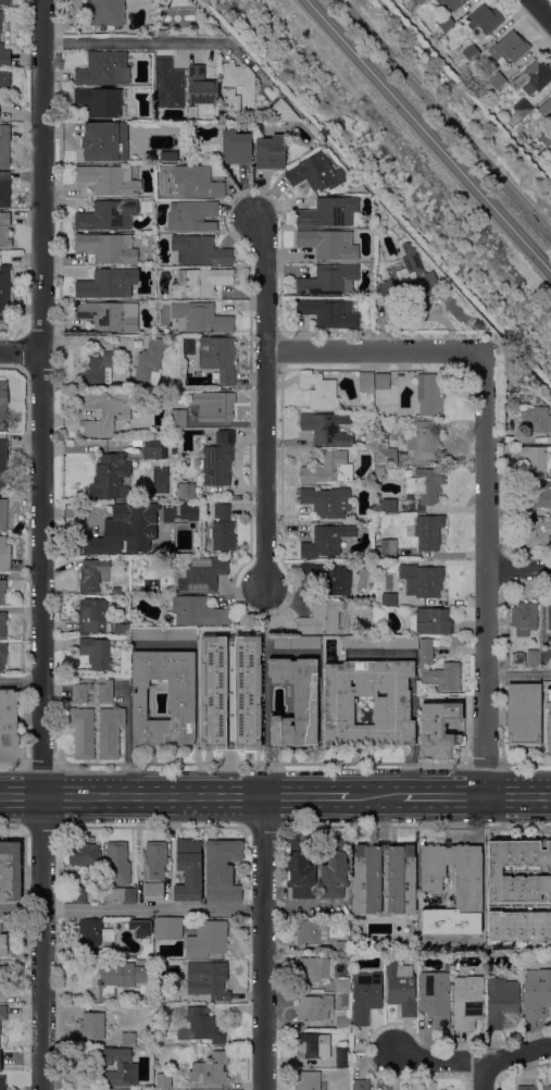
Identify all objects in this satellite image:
building: (419, 1)
building: (5, 2)
building: (452, 3)
road: (543, 8)
building: (105, 12)
building: (484, 20)
building: (0, 22)
building: (446, 23)
building: (162, 33)
road: (140, 41)
building: (509, 48)
building: (471, 52)
building: (4, 57)
building: (103, 70)
building: (533, 77)
building: (4, 79)
building: (168, 84)
building: (493, 84)
building: (237, 87)
building: (201, 88)
building: (100, 103)
building: (546, 109)
building: (283, 111)
building: (519, 112)
building: (223, 116)
road: (444, 117)
building: (258, 126)
building: (546, 138)
building: (100, 141)
building: (142, 141)
building: (4, 146)
building: (236, 148)
building: (271, 152)
building: (315, 173)
building: (109, 179)
building: (197, 183)
building: (4, 189)
building: (328, 213)
building: (108, 215)
building: (190, 215)
building: (4, 231)
building: (397, 232)
building: (328, 244)
building: (108, 248)
building: (200, 251)
building: (329, 281)
building: (408, 282)
building: (200, 283)
building: (108, 284)
building: (4, 290)
building: (328, 312)
building: (109, 315)
building: (200, 319)
road: (374, 349)
road: (21, 352)
building: (218, 357)
building: (150, 362)
building: (98, 371)
building: (528, 374)
building: (534, 381)
building: (365, 382)
building: (381, 382)
building: (321, 392)
building: (430, 394)
building: (3, 397)
road: (265, 399)
building: (213, 406)
building: (383, 410)
building: (104, 412)
building: (178, 418)
building: (535, 419)
building: (326, 429)
building: (423, 439)
building: (153, 450)
building: (384, 450)
building: (537, 458)
building: (218, 459)
building: (2, 465)
building: (326, 468)
building: (379, 471)
building: (111, 478)
building: (426, 484)
building: (186, 491)
building: (536, 496)
building: (326, 501)
building: (386, 506)
building: (188, 511)
building: (3, 515)
building: (222, 529)
building: (125, 530)
building: (427, 533)
building: (537, 533)
building: (326, 541)
road: (41, 544)
building: (385, 550)
building: (4, 555)
road: (518, 569)
road: (485, 573)
building: (91, 574)
building: (200, 574)
building: (328, 579)
building: (422, 581)
building: (2, 590)
building: (116, 591)
building: (388, 599)
building: (195, 612)
building: (92, 616)
building: (321, 617)
building: (549, 617)
building: (524, 618)
building: (433, 622)
building: (2, 624)
building: (122, 629)
building: (163, 634)
building: (297, 643)
building: (381, 643)
building: (96, 653)
building: (425, 653)
building: (2, 656)
building: (534, 657)
building: (546, 657)
building: (517, 658)
road: (517, 673)
building: (444, 677)
road: (21, 681)
building: (92, 689)
building: (211, 692)
building: (246, 692)
building: (180, 702)
building: (296, 702)
building: (391, 711)
building: (524, 716)
building: (8, 718)
building: (548, 719)
road: (230, 723)
building: (438, 728)
building: (82, 732)
building: (110, 732)
road: (127, 740)
road: (501, 743)
road: (259, 763)
road: (481, 763)
road: (12, 764)
road: (39, 764)
road: (21, 795)
road: (109, 795)
road: (220, 796)
road: (309, 796)
road: (374, 796)
road: (438, 796)
road: (517, 796)
road: (12, 827)
road: (163, 827)
road: (406, 827)
building: (84, 854)
building: (117, 864)
building: (300, 868)
building: (335, 868)
building: (188, 870)
building: (222, 870)
building: (518, 870)
building: (10, 871)
building: (154, 871)
building: (468, 884)
building: (401, 885)
building: (97, 892)
building: (78, 896)
building: (120, 896)
road: (132, 909)
building: (518, 926)
building: (141, 927)
building: (168, 929)
building: (311, 933)
building: (93, 934)
building: (206, 940)
road: (263, 943)
building: (3, 944)
building: (342, 947)
building: (314, 969)
building: (120, 979)
building: (206, 980)
building: (1, 981)
building: (342, 986)
building: (402, 988)
building: (537, 993)
building: (366, 996)
building: (436, 999)
building: (467, 1002)
building: (502, 1003)
building: (314, 1007)
building: (3, 1013)
building: (342, 1019)
building: (200, 1026)
building: (92, 1027)
building: (145, 1037)
building: (128, 1039)
building: (313, 1046)
building: (342, 1057)
road: (473, 1061)
building: (117, 1066)
building: (210, 1069)
road: (483, 1076)
building: (309, 1080)
building: (164, 1081)
building: (361, 1085)
building: (2, 1087)
building: (527, 1088)
building: (546, 1088)
building: (444, 1089)

